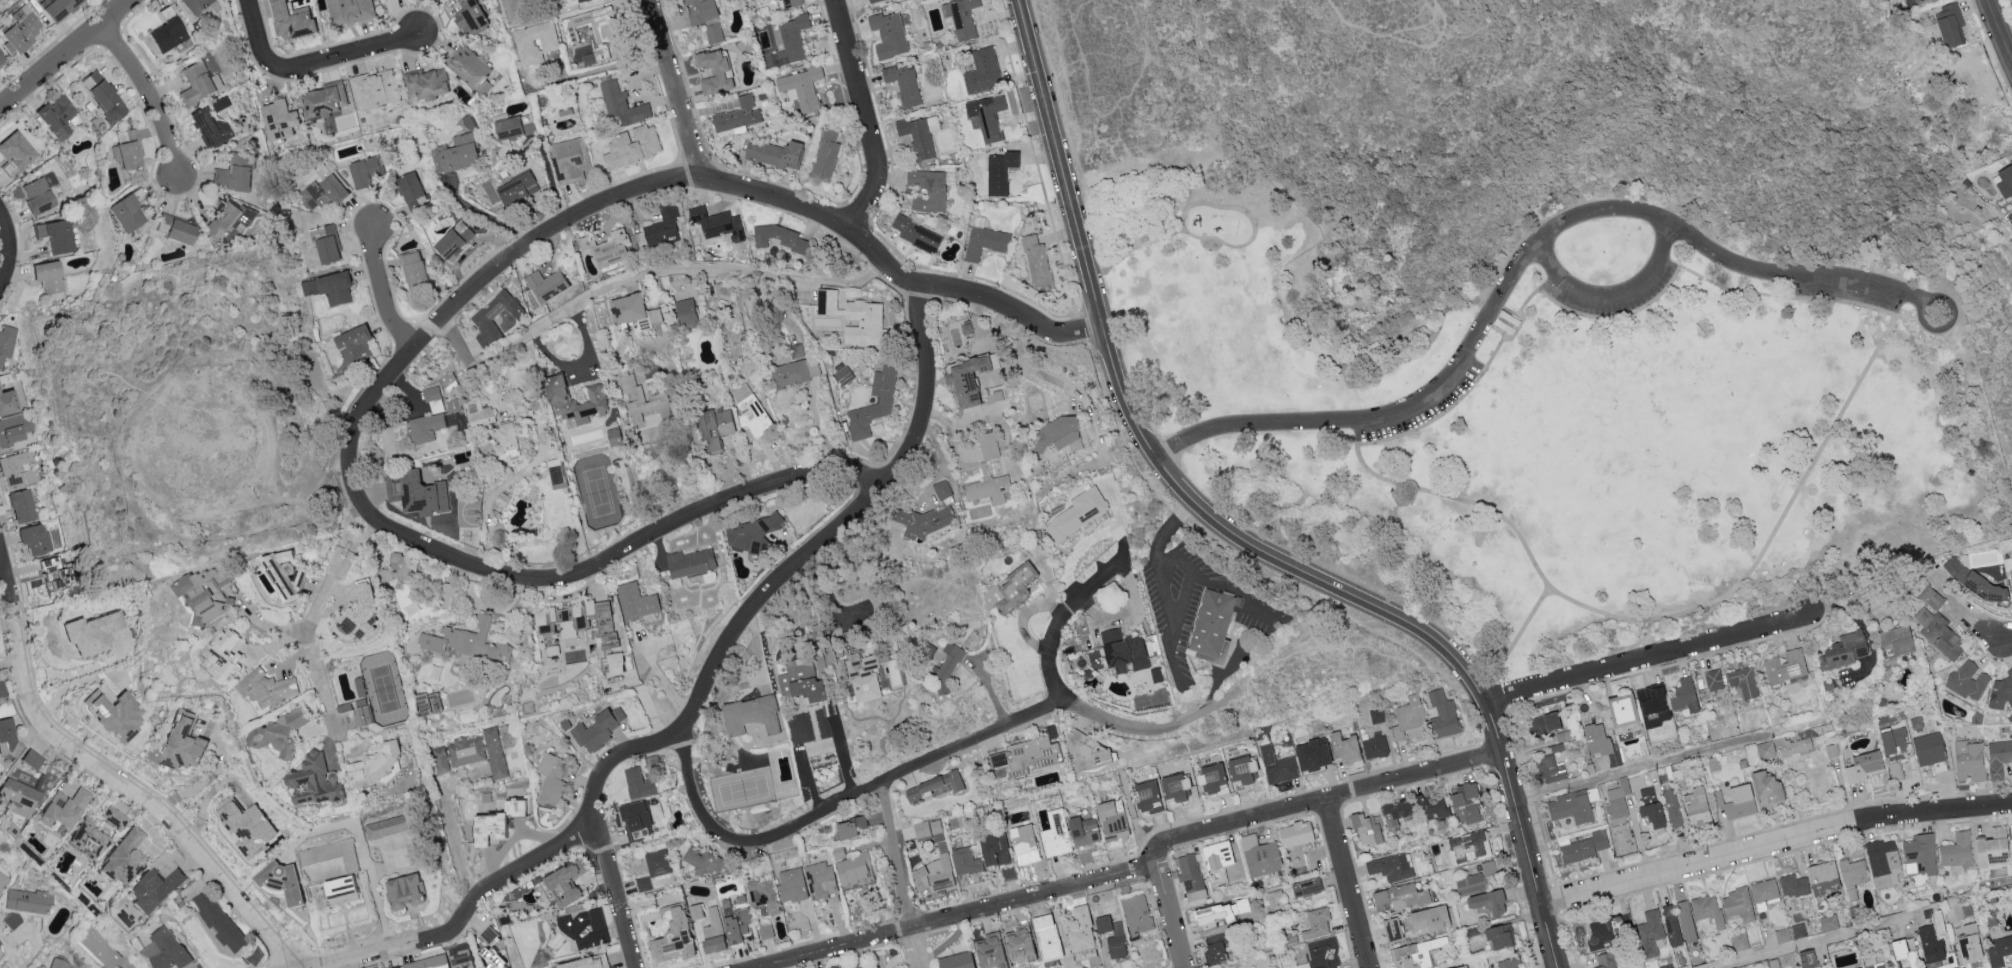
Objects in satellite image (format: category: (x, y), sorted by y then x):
building: (872, 1)
building: (788, 3)
building: (193, 5)
building: (54, 9)
building: (348, 10)
building: (699, 10)
building: (469, 17)
building: (961, 17)
building: (288, 19)
building: (1949, 24)
road: (2001, 28)
building: (18, 29)
building: (713, 33)
building: (888, 34)
building: (165, 35)
road: (1399, 38)
building: (791, 39)
building: (534, 41)
road: (66, 55)
building: (0, 60)
road: (306, 65)
building: (468, 66)
building: (713, 70)
building: (982, 70)
building: (195, 83)
building: (425, 83)
building: (903, 83)
building: (482, 86)
building: (801, 86)
building: (374, 88)
road: (674, 90)
building: (101, 95)
road: (152, 97)
building: (323, 98)
building: (620, 105)
building: (736, 114)
building: (986, 115)
building: (54, 116)
road: (864, 116)
building: (275, 119)
building: (209, 127)
building: (511, 127)
building: (919, 134)
building: (630, 146)
building: (13, 152)
building: (125, 152)
building: (457, 152)
building: (773, 153)
building: (824, 155)
building: (2011, 158)
building: (569, 159)
building: (363, 170)
building: (998, 171)
building: (234, 172)
building: (2004, 181)
building: (332, 188)
building: (514, 188)
building: (929, 188)
building: (408, 189)
building: (37, 193)
road: (1209, 207)
building: (125, 213)
building: (229, 218)
building: (710, 221)
building: (661, 226)
building: (38, 230)
building: (175, 230)
building: (917, 234)
building: (59, 236)
building: (780, 237)
building: (451, 239)
building: (984, 241)
building: (324, 244)
building: (607, 247)
road: (9, 249)
building: (1036, 260)
building: (411, 267)
road: (666, 269)
road: (1521, 271)
building: (46, 276)
building: (544, 285)
building: (328, 287)
road: (380, 291)
parking lot: (1650, 292)
parking lot: (1849, 293)
park: (1564, 296)
road: (1615, 297)
road: (1931, 299)
building: (630, 311)
road: (1016, 311)
building: (684, 312)
building: (485, 314)
building: (854, 318)
building: (1505, 322)
building: (965, 328)
building: (7, 341)
building: (352, 343)
road: (454, 343)
building: (795, 350)
building: (794, 371)
building: (843, 375)
building: (965, 380)
road: (1055, 382)
building: (430, 393)
building: (994, 395)
building: (596, 399)
building: (885, 399)
building: (6, 401)
road: (367, 407)
building: (642, 407)
parking lot: (1426, 409)
building: (477, 411)
road: (687, 420)
road: (818, 425)
building: (425, 426)
building: (713, 427)
building: (16, 428)
road: (1139, 431)
building: (1053, 433)
building: (612, 436)
building: (503, 438)
building: (985, 445)
building: (17, 470)
building: (986, 489)
building: (938, 490)
building: (420, 494)
building: (21, 506)
building: (1077, 512)
building: (917, 521)
road: (842, 524)
building: (746, 534)
building: (33, 538)
building: (688, 561)
building: (398, 566)
road: (335, 570)
building: (50, 571)
building: (287, 575)
road: (1188, 575)
building: (2010, 577)
road: (1165, 584)
building: (201, 589)
building: (1010, 589)
road: (1231, 590)
building: (446, 594)
building: (1931, 597)
building: (638, 602)
building: (410, 608)
building: (357, 612)
building: (571, 616)
road: (1671, 620)
road: (266, 624)
building: (1211, 626)
building: (86, 632)
building: (1939, 632)
road: (1991, 634)
building: (1896, 639)
building: (467, 641)
road: (1514, 644)
building: (926, 650)
building: (1843, 650)
building: (1122, 651)
building: (221, 652)
road: (1648, 655)
building: (614, 662)
building: (945, 664)
building: (1785, 666)
building: (1156, 674)
building: (860, 675)
building: (1713, 678)
road: (318, 679)
building: (797, 680)
road: (1054, 680)
building: (1967, 680)
building: (1742, 681)
building: (263, 687)
building: (1, 689)
building: (2002, 689)
building: (1683, 695)
building: (1651, 705)
building: (1621, 708)
building: (360, 713)
building: (748, 713)
building: (110, 714)
building: (1442, 714)
building: (1408, 718)
building: (1543, 723)
building: (598, 727)
building: (278, 731)
building: (7, 738)
building: (1893, 739)
building: (180, 740)
building: (1600, 743)
building: (1374, 745)
building: (1792, 745)
building: (1343, 746)
building: (1555, 747)
building: (1928, 747)
building: (1764, 748)
building: (1085, 750)
building: (472, 752)
building: (1311, 753)
building: (1029, 754)
building: (1998, 757)
building: (28, 759)
road: (1669, 760)
building: (1968, 760)
building: (373, 764)
building: (1278, 764)
building: (1862, 765)
building: (1550, 768)
road: (109, 775)
building: (1211, 776)
building: (550, 778)
building: (311, 780)
building: (637, 782)
building: (931, 785)
building: (1173, 785)
building: (1765, 788)
building: (1145, 793)
building: (484, 795)
building: (16, 798)
road: (1321, 801)
building: (1616, 801)
building: (1736, 801)
road: (846, 802)
building: (1465, 802)
building: (1650, 805)
building: (1696, 805)
building: (512, 806)
building: (1570, 806)
building: (1672, 807)
building: (62, 808)
building: (1433, 809)
building: (1394, 812)
building: (112, 817)
building: (633, 818)
building: (1112, 820)
building: (386, 825)
building: (246, 826)
building: (486, 826)
building: (848, 826)
road: (597, 827)
building: (2011, 827)
building: (1364, 828)
road: (453, 829)
building: (928, 829)
building: (1083, 830)
building: (1056, 833)
building: (1296, 833)
road: (1523, 833)
building: (91, 834)
road: (1774, 842)
building: (1023, 843)
building: (1482, 846)
building: (1991, 846)
building: (1582, 847)
building: (994, 849)
building: (1957, 851)
road: (364, 852)
building: (1919, 853)
building: (1261, 855)
building: (701, 858)
building: (121, 859)
building: (1217, 859)
building: (965, 860)
building: (1884, 863)
building: (1391, 865)
building: (654, 867)
building: (854, 867)
building: (1487, 867)
building: (317, 871)
building: (933, 873)
building: (1853, 875)
road: (903, 876)
building: (1190, 876)
building: (1821, 877)
building: (821, 879)
building: (3, 880)
building: (562, 881)
building: (285, 882)
building: (791, 883)
building: (1469, 883)
road: (1350, 884)
building: (1791, 884)
building: (1305, 886)
building: (152, 889)
building: (338, 889)
building: (403, 889)
building: (1763, 893)
building: (762, 894)
building: (1399, 897)
building: (28, 901)
building: (1487, 901)
building: (1738, 903)
building: (1707, 908)
building: (1953, 908)
building: (693, 910)
building: (1136, 912)
road: (469, 915)
building: (1211, 915)
building: (595, 916)
road: (958, 916)
road: (1170, 916)
building: (1429, 918)
building: (219, 920)
building: (1686, 920)
building: (1829, 921)
building: (1316, 922)
building: (1614, 923)
building: (1671, 924)
building: (724, 927)
building: (1390, 927)
building: (1078, 929)
building: (1798, 929)
building: (765, 930)
building: (1597, 933)
building: (1650, 933)
building: (1111, 934)
building: (1498, 934)
building: (1781, 934)
building: (670, 935)
building: (1047, 936)
building: (1290, 937)
building: (1740, 940)
road: (1824, 940)
building: (1968, 942)
building: (1929, 943)
building: (1018, 944)
building: (1901, 946)
building: (1214, 948)
building: (102, 949)
building: (1999, 949)
building: (165, 950)
building: (989, 950)
building: (1415, 953)
building: (1322, 955)
building: (1806, 957)
building: (459, 959)
building: (955, 960)
building: (1605, 960)
building: (426, 962)
building: (584, 962)
building: (1510, 962)
building: (59, 963)
building: (1873, 963)
building: (826, 967)
building: (1457, 967)
building: (1733, 967)
building: (1861, 967)

